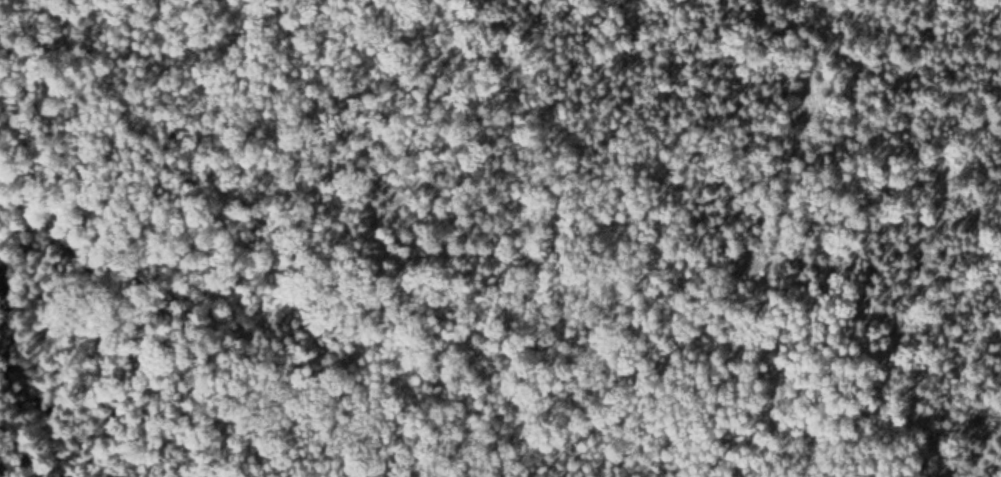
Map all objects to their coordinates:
road: (772, 234)

